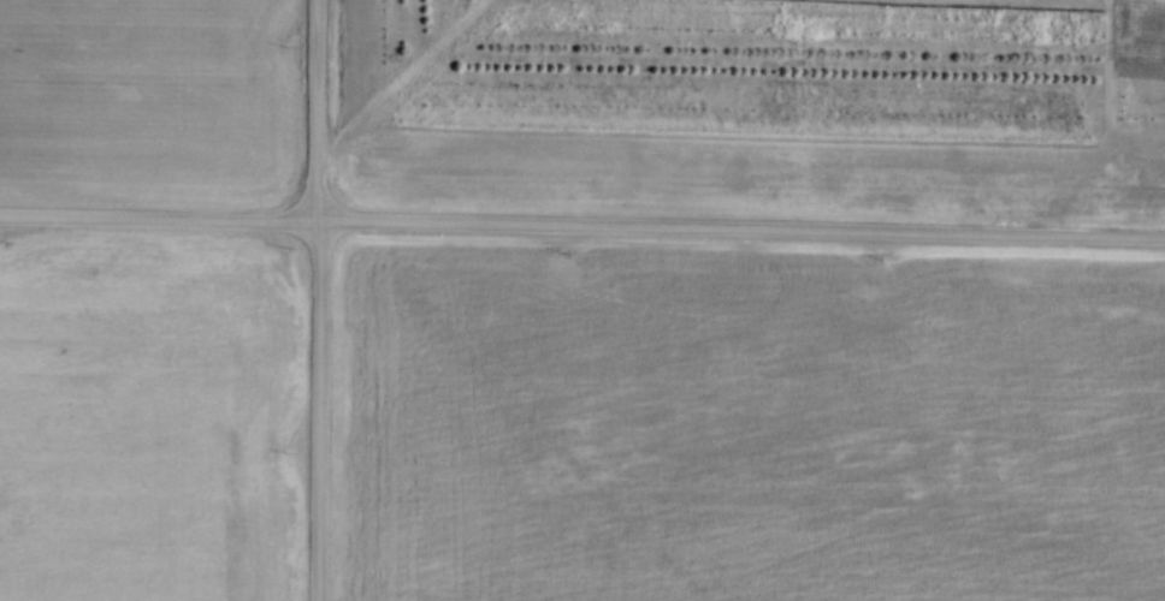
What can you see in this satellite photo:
crop: (149, 97)
crop: (802, 142)
road: (581, 226)
road: (320, 299)
crop: (147, 419)
crop: (747, 424)

